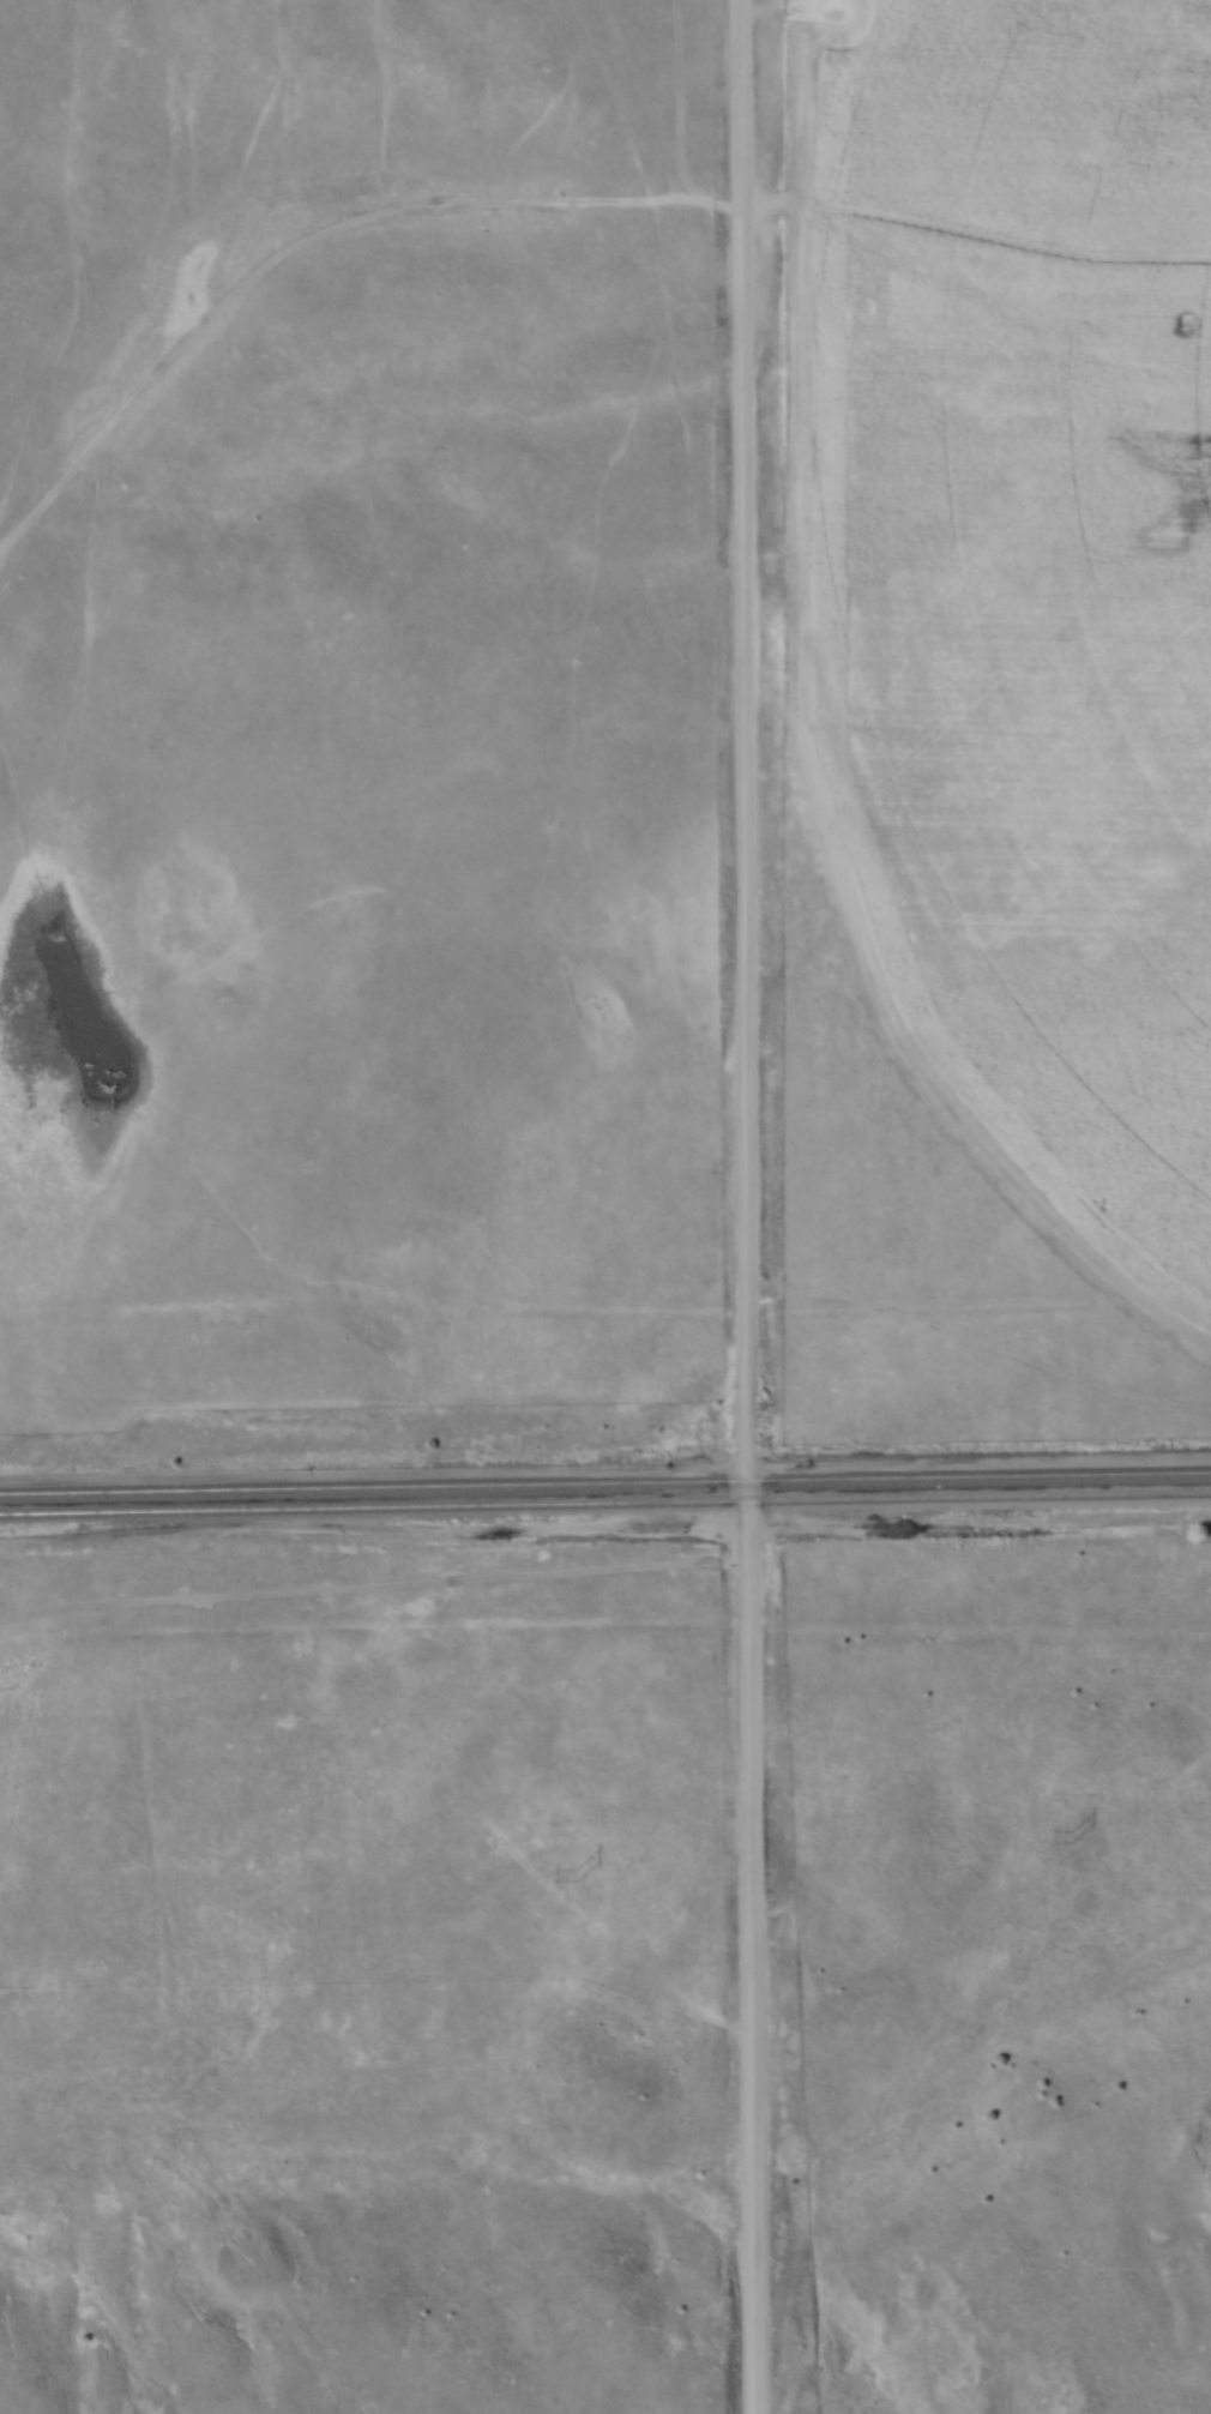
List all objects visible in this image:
road: (742, 1206)
railway: (604, 1480)
railway: (604, 1501)
power tower: (1067, 1837)
power tower: (574, 1872)

